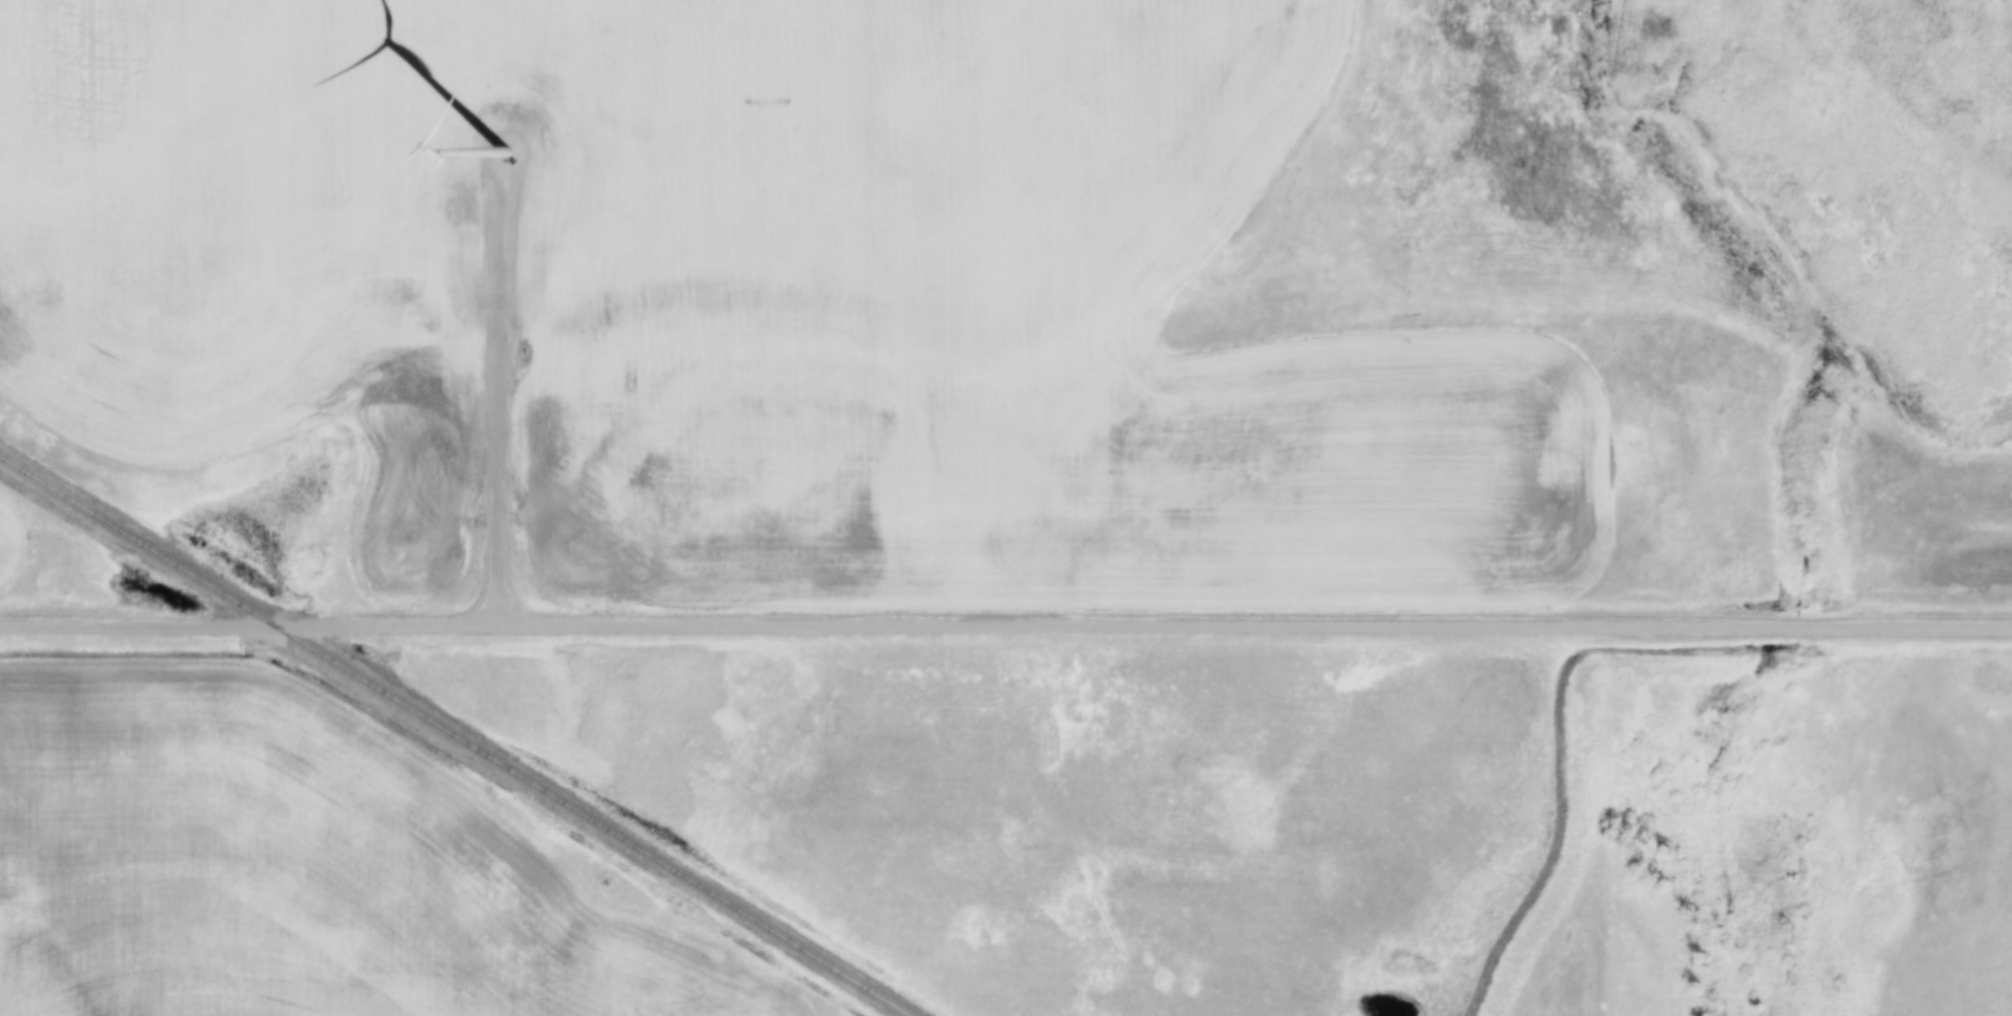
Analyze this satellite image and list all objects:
wind turbine: (506, 152)
road: (501, 403)
road: (1006, 625)
railway: (458, 735)

